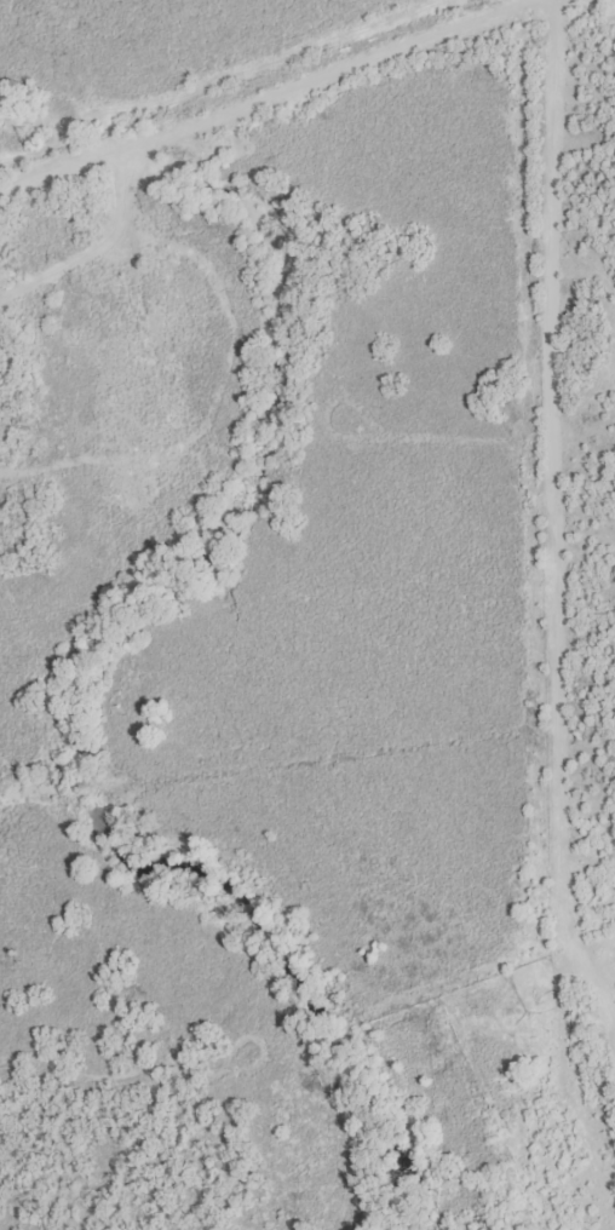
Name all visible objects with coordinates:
road: (264, 97)

